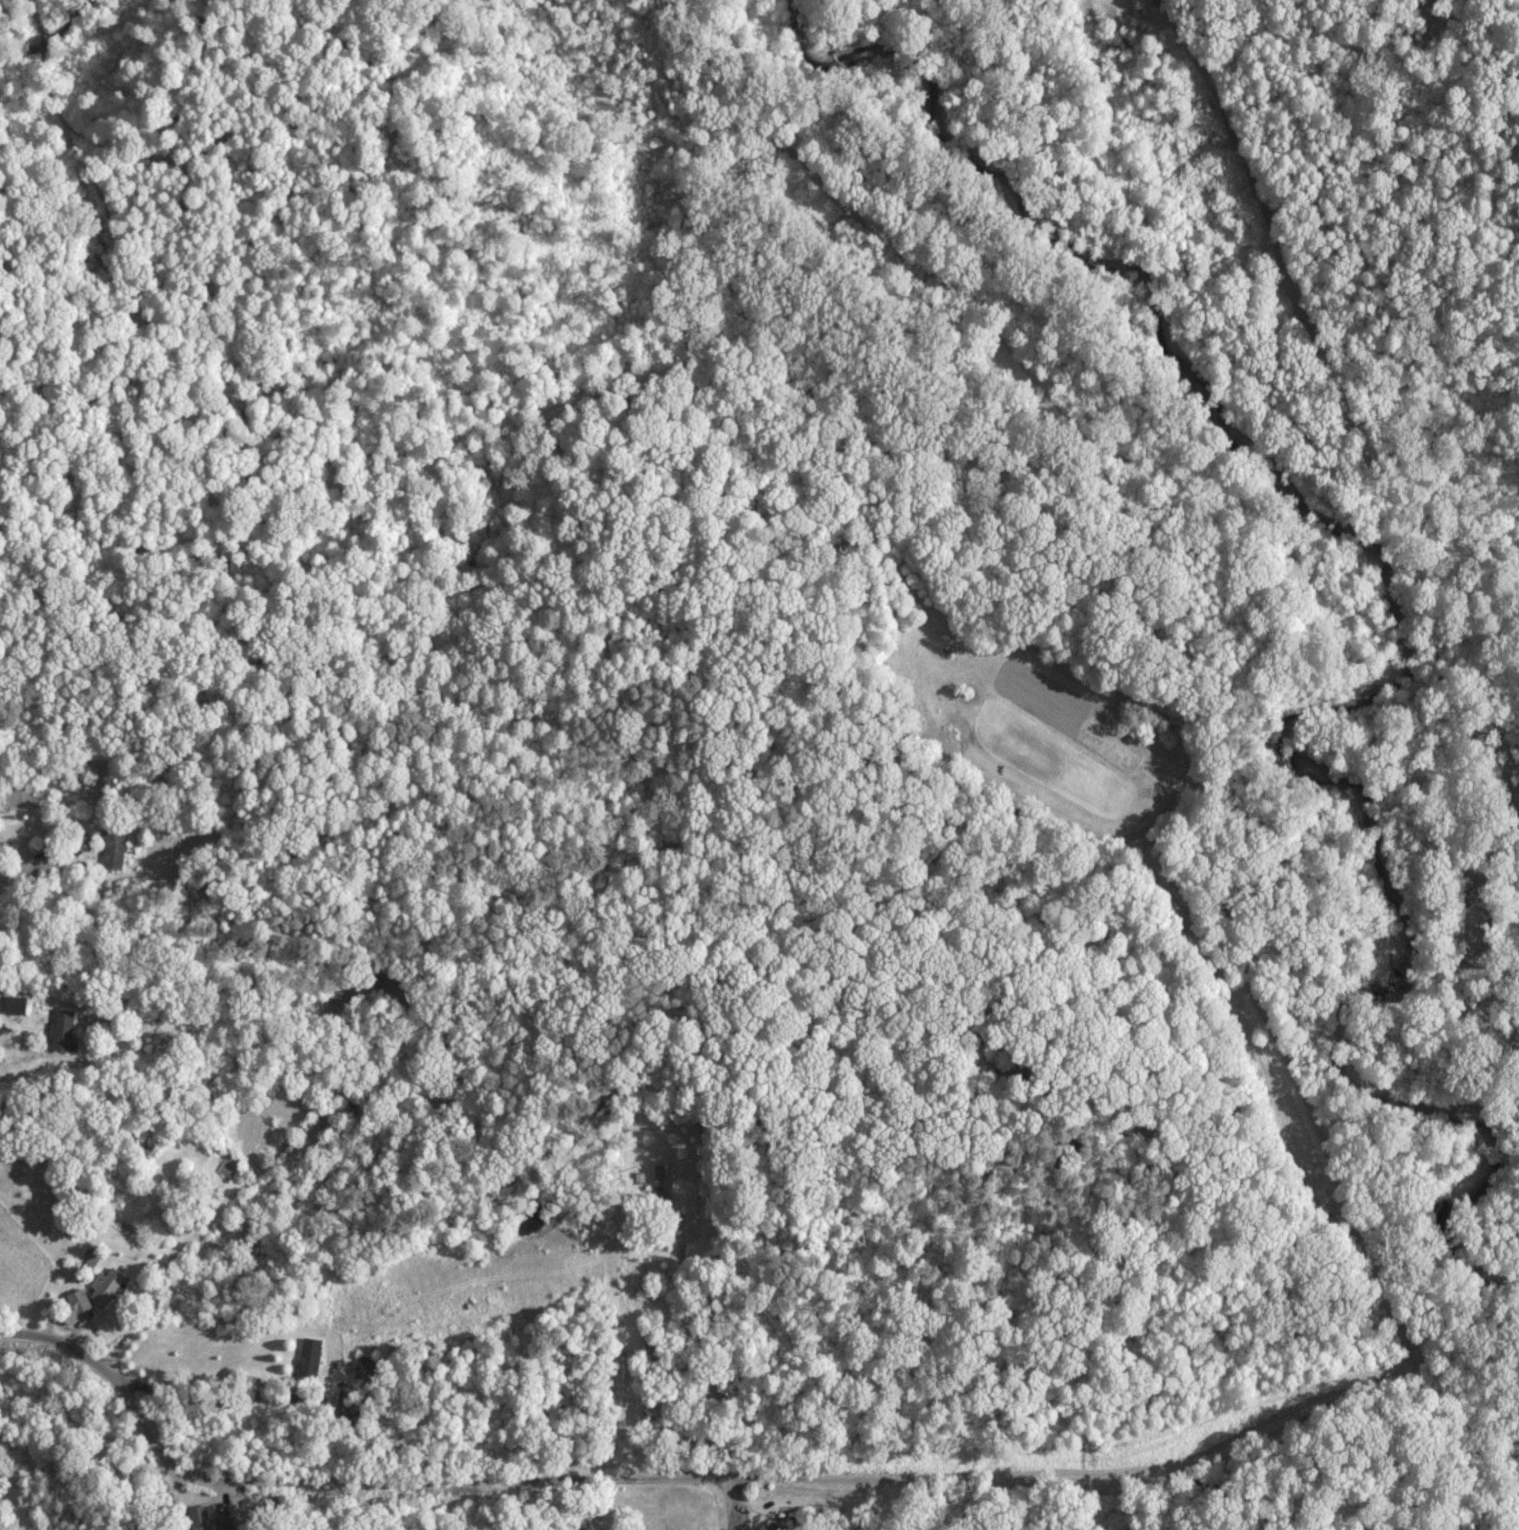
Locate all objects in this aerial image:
road: (80, 824)
road: (9, 873)
road: (1227, 924)
road: (324, 1163)
road: (1078, 1318)
road: (707, 1358)
road: (1473, 1406)
road: (686, 1476)

